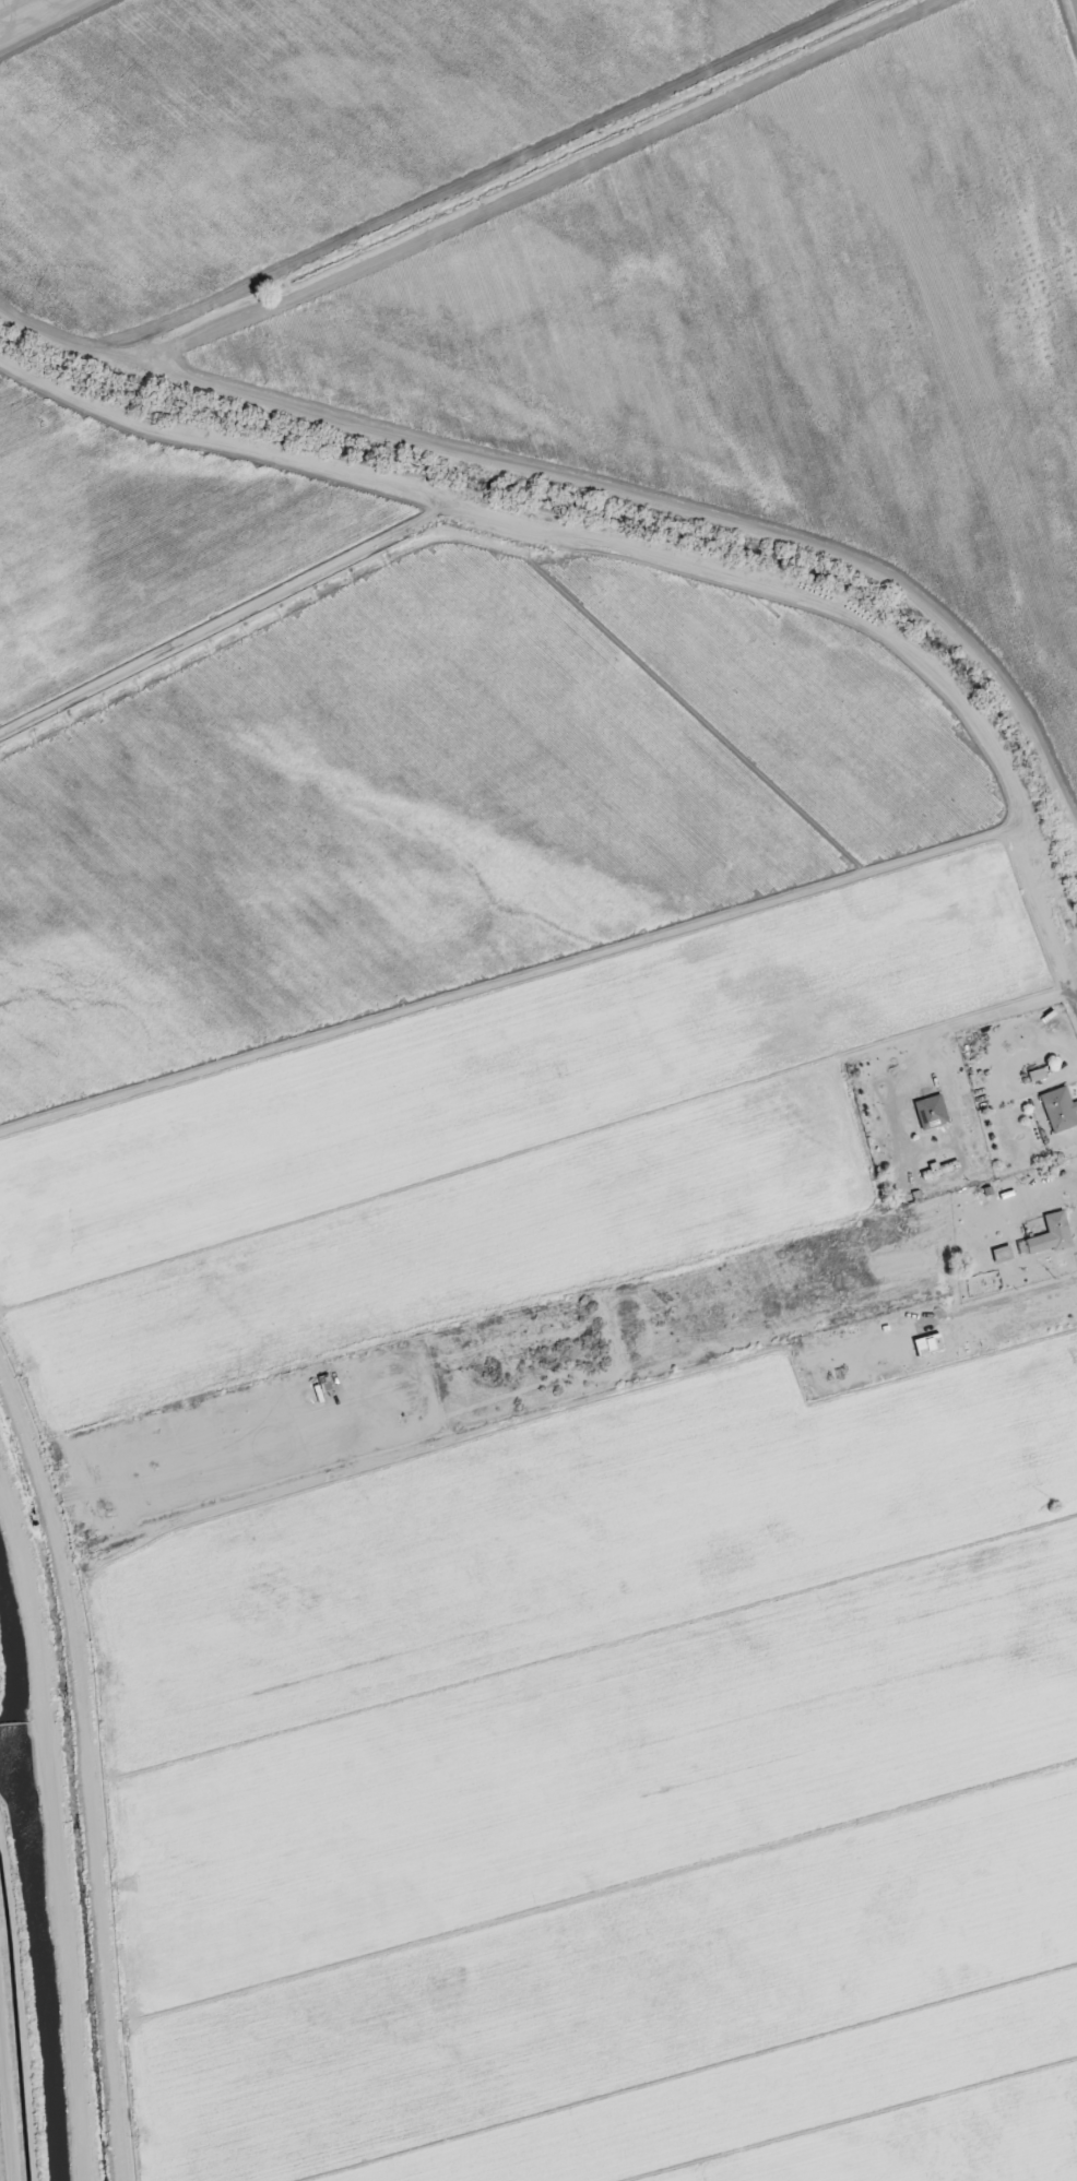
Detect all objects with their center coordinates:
road: (1061, 928)
building: (1060, 1109)
building: (932, 1112)
building: (1050, 1235)

